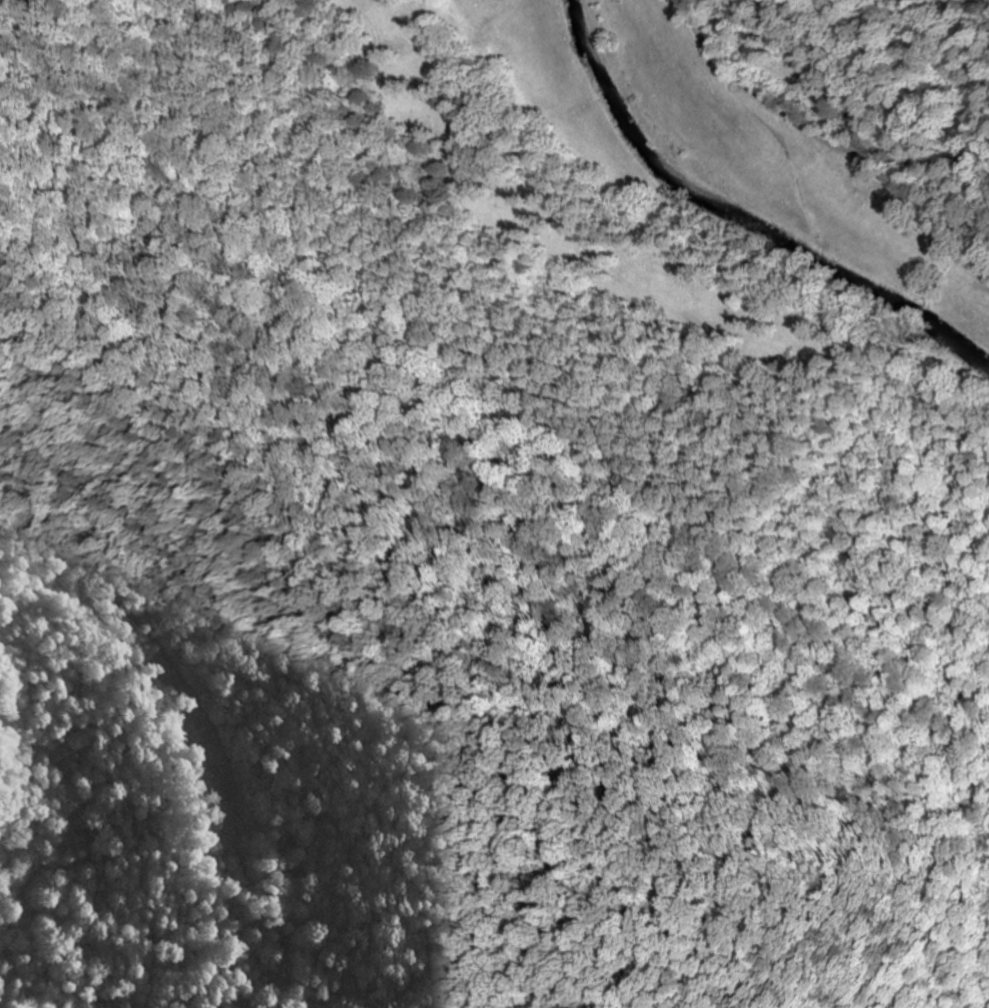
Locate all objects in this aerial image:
road: (802, 137)

